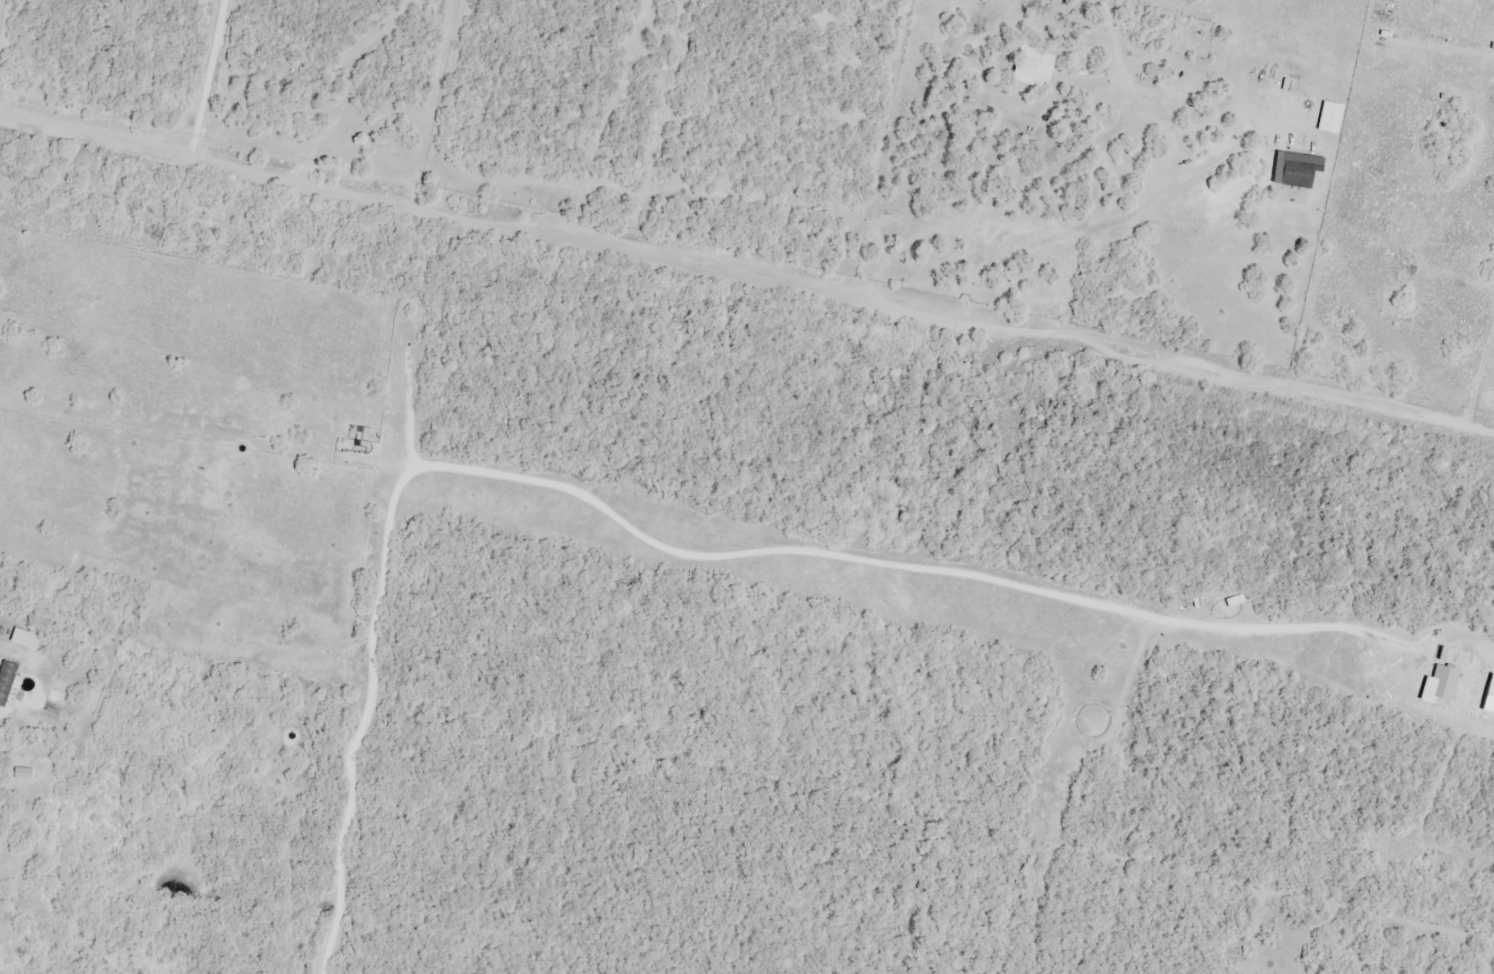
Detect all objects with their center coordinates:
building: (1035, 71)
building: (1294, 169)
road: (746, 277)
building: (25, 639)
building: (6, 681)

